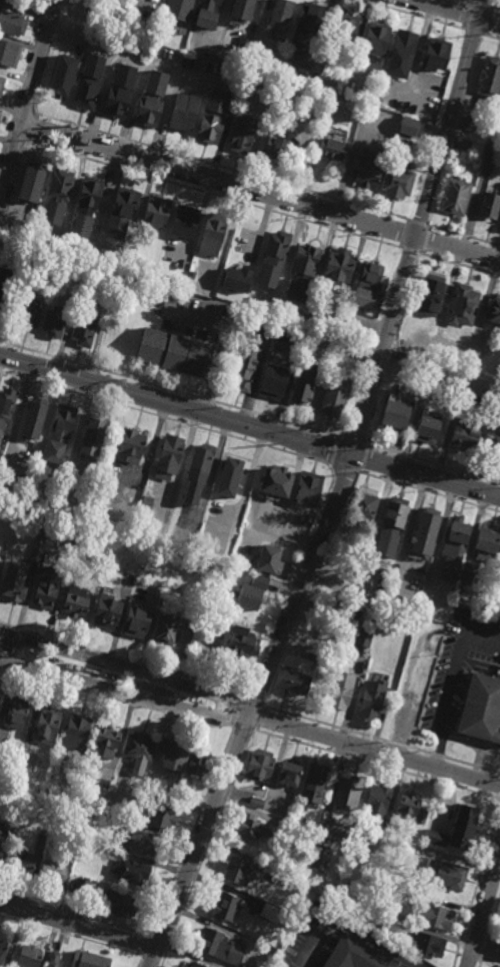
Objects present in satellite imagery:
road: (468, 1)
building: (207, 4)
road: (480, 4)
building: (79, 6)
building: (178, 7)
road: (494, 8)
building: (240, 10)
road: (455, 13)
road: (409, 15)
road: (468, 16)
building: (206, 20)
building: (277, 20)
road: (485, 21)
building: (306, 22)
building: (12, 23)
building: (72, 30)
building: (343, 30)
road: (472, 32)
road: (490, 37)
building: (375, 39)
building: (242, 45)
building: (7, 53)
building: (400, 54)
building: (434, 54)
building: (301, 77)
building: (488, 78)
building: (85, 83)
building: (1, 85)
building: (56, 85)
building: (117, 93)
road: (28, 99)
building: (149, 100)
building: (182, 112)
building: (0, 113)
building: (211, 117)
building: (467, 124)
road: (29, 127)
building: (408, 127)
building: (241, 135)
building: (331, 142)
building: (461, 146)
building: (275, 148)
building: (491, 150)
road: (221, 167)
building: (367, 169)
building: (397, 182)
building: (27, 184)
road: (260, 191)
road: (213, 196)
building: (454, 197)
building: (55, 198)
building: (488, 206)
building: (84, 207)
building: (33, 210)
building: (154, 213)
building: (119, 214)
building: (180, 224)
road: (419, 224)
road: (405, 235)
road: (465, 237)
building: (210, 239)
road: (425, 240)
road: (410, 251)
building: (129, 255)
building: (272, 260)
road: (460, 265)
building: (338, 267)
building: (301, 273)
building: (191, 276)
building: (369, 276)
building: (235, 282)
building: (4, 291)
building: (430, 297)
building: (364, 299)
building: (462, 307)
building: (494, 312)
building: (26, 313)
building: (53, 324)
building: (266, 328)
building: (82, 332)
building: (350, 332)
building: (438, 341)
road: (224, 344)
building: (167, 355)
building: (403, 359)
road: (380, 362)
building: (244, 370)
building: (274, 382)
building: (303, 386)
road: (170, 389)
building: (334, 400)
building: (6, 404)
building: (34, 417)
road: (168, 419)
building: (394, 420)
road: (250, 425)
building: (426, 426)
building: (59, 433)
building: (465, 433)
building: (92, 437)
road: (354, 441)
building: (130, 444)
building: (494, 444)
road: (336, 451)
building: (168, 455)
traffic signals: (354, 455)
road: (365, 458)
road: (435, 463)
road: (182, 465)
road: (349, 469)
building: (233, 470)
road: (212, 472)
building: (198, 473)
building: (276, 481)
building: (306, 485)
road: (246, 488)
building: (136, 492)
road: (430, 492)
building: (363, 502)
building: (144, 508)
building: (109, 516)
building: (66, 522)
building: (389, 523)
building: (425, 523)
road: (409, 528)
building: (231, 529)
building: (40, 532)
building: (74, 532)
building: (485, 540)
road: (435, 547)
building: (451, 547)
building: (269, 559)
building: (499, 562)
building: (499, 568)
building: (235, 572)
building: (465, 576)
building: (127, 577)
building: (14, 578)
building: (259, 581)
road: (292, 583)
building: (47, 585)
road: (311, 589)
building: (250, 598)
building: (74, 600)
building: (346, 609)
building: (104, 610)
building: (381, 615)
building: (136, 620)
building: (188, 627)
building: (165, 629)
building: (363, 637)
road: (483, 637)
building: (241, 641)
building: (321, 658)
road: (123, 659)
building: (294, 682)
road: (450, 682)
building: (340, 690)
building: (371, 698)
road: (116, 700)
building: (480, 708)
building: (17, 712)
road: (248, 714)
building: (46, 722)
building: (73, 730)
building: (104, 737)
building: (2, 746)
building: (138, 747)
road: (439, 748)
road: (375, 751)
building: (23, 753)
building: (171, 755)
building: (81, 759)
building: (196, 764)
building: (259, 764)
building: (288, 774)
building: (314, 783)
building: (147, 784)
building: (185, 792)
building: (347, 793)
building: (255, 802)
building: (376, 802)
building: (410, 807)
building: (160, 816)
building: (104, 818)
building: (279, 821)
building: (251, 827)
building: (460, 827)
road: (191, 832)
building: (2, 836)
building: (433, 838)
building: (140, 841)
road: (200, 841)
building: (83, 846)
building: (72, 847)
building: (411, 847)
building: (319, 857)
building: (22, 860)
building: (235, 871)
building: (50, 872)
building: (127, 872)
building: (300, 874)
building: (444, 874)
building: (80, 887)
building: (116, 905)
building: (224, 908)
road: (483, 909)
building: (270, 912)
road: (76, 913)
building: (432, 916)
building: (397, 923)
road: (79, 925)
road: (342, 930)
road: (71, 937)
building: (425, 944)
road: (146, 947)
building: (219, 948)
building: (498, 949)
building: (2, 952)
building: (354, 955)
building: (28, 957)
building: (52, 958)
building: (86, 960)
road: (140, 962)
building: (194, 965)
building: (46, 966)

